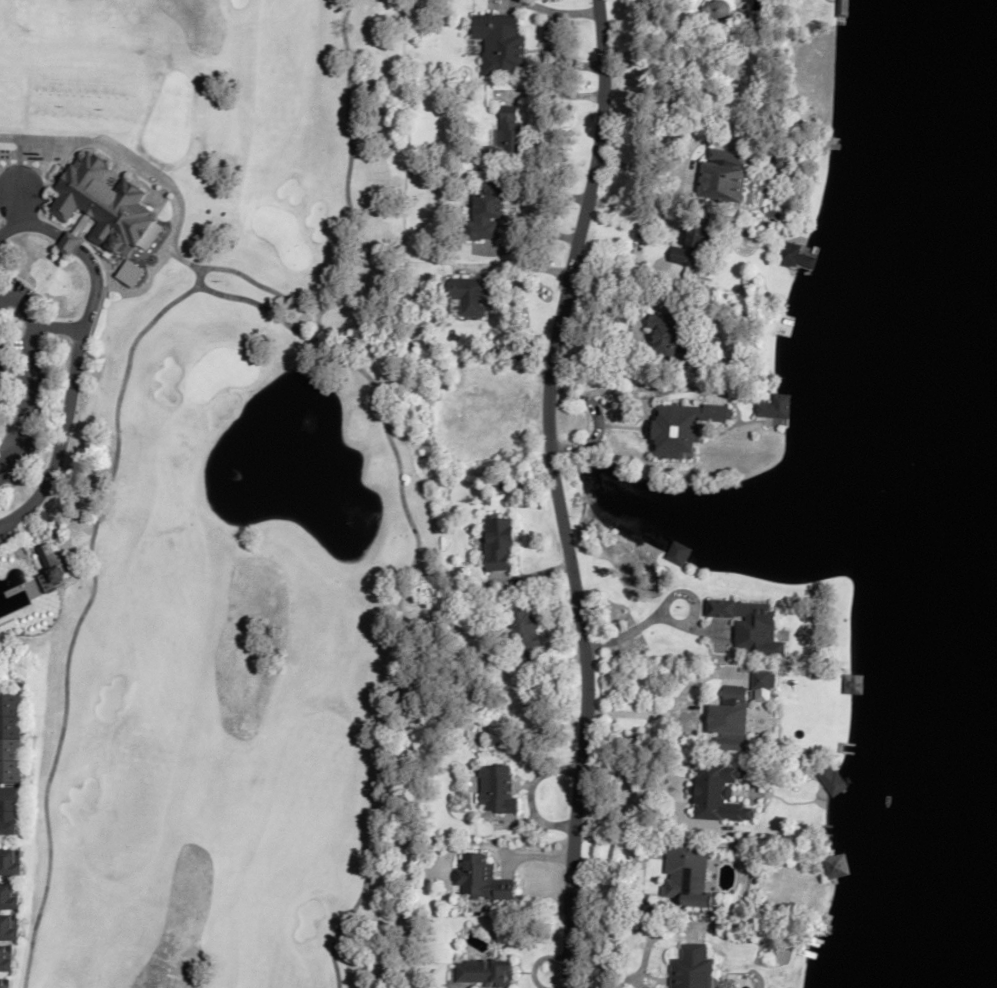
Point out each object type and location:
building: (843, 7)
building: (501, 44)
building: (509, 135)
building: (723, 173)
building: (105, 204)
building: (488, 210)
building: (70, 243)
building: (695, 244)
building: (792, 256)
building: (469, 296)
building: (670, 335)
road: (78, 348)
building: (772, 407)
building: (682, 427)
road: (556, 492)
building: (50, 564)
road: (651, 614)
building: (520, 629)
building: (853, 684)
road: (679, 708)
road: (630, 712)
building: (730, 720)
building: (10, 738)
building: (829, 780)
building: (495, 789)
building: (719, 794)
building: (9, 811)
building: (9, 862)
building: (835, 866)
building: (687, 874)
building: (480, 880)
building: (8, 896)
building: (8, 926)
building: (5, 958)
building: (691, 968)
building: (482, 971)
building: (2, 983)

